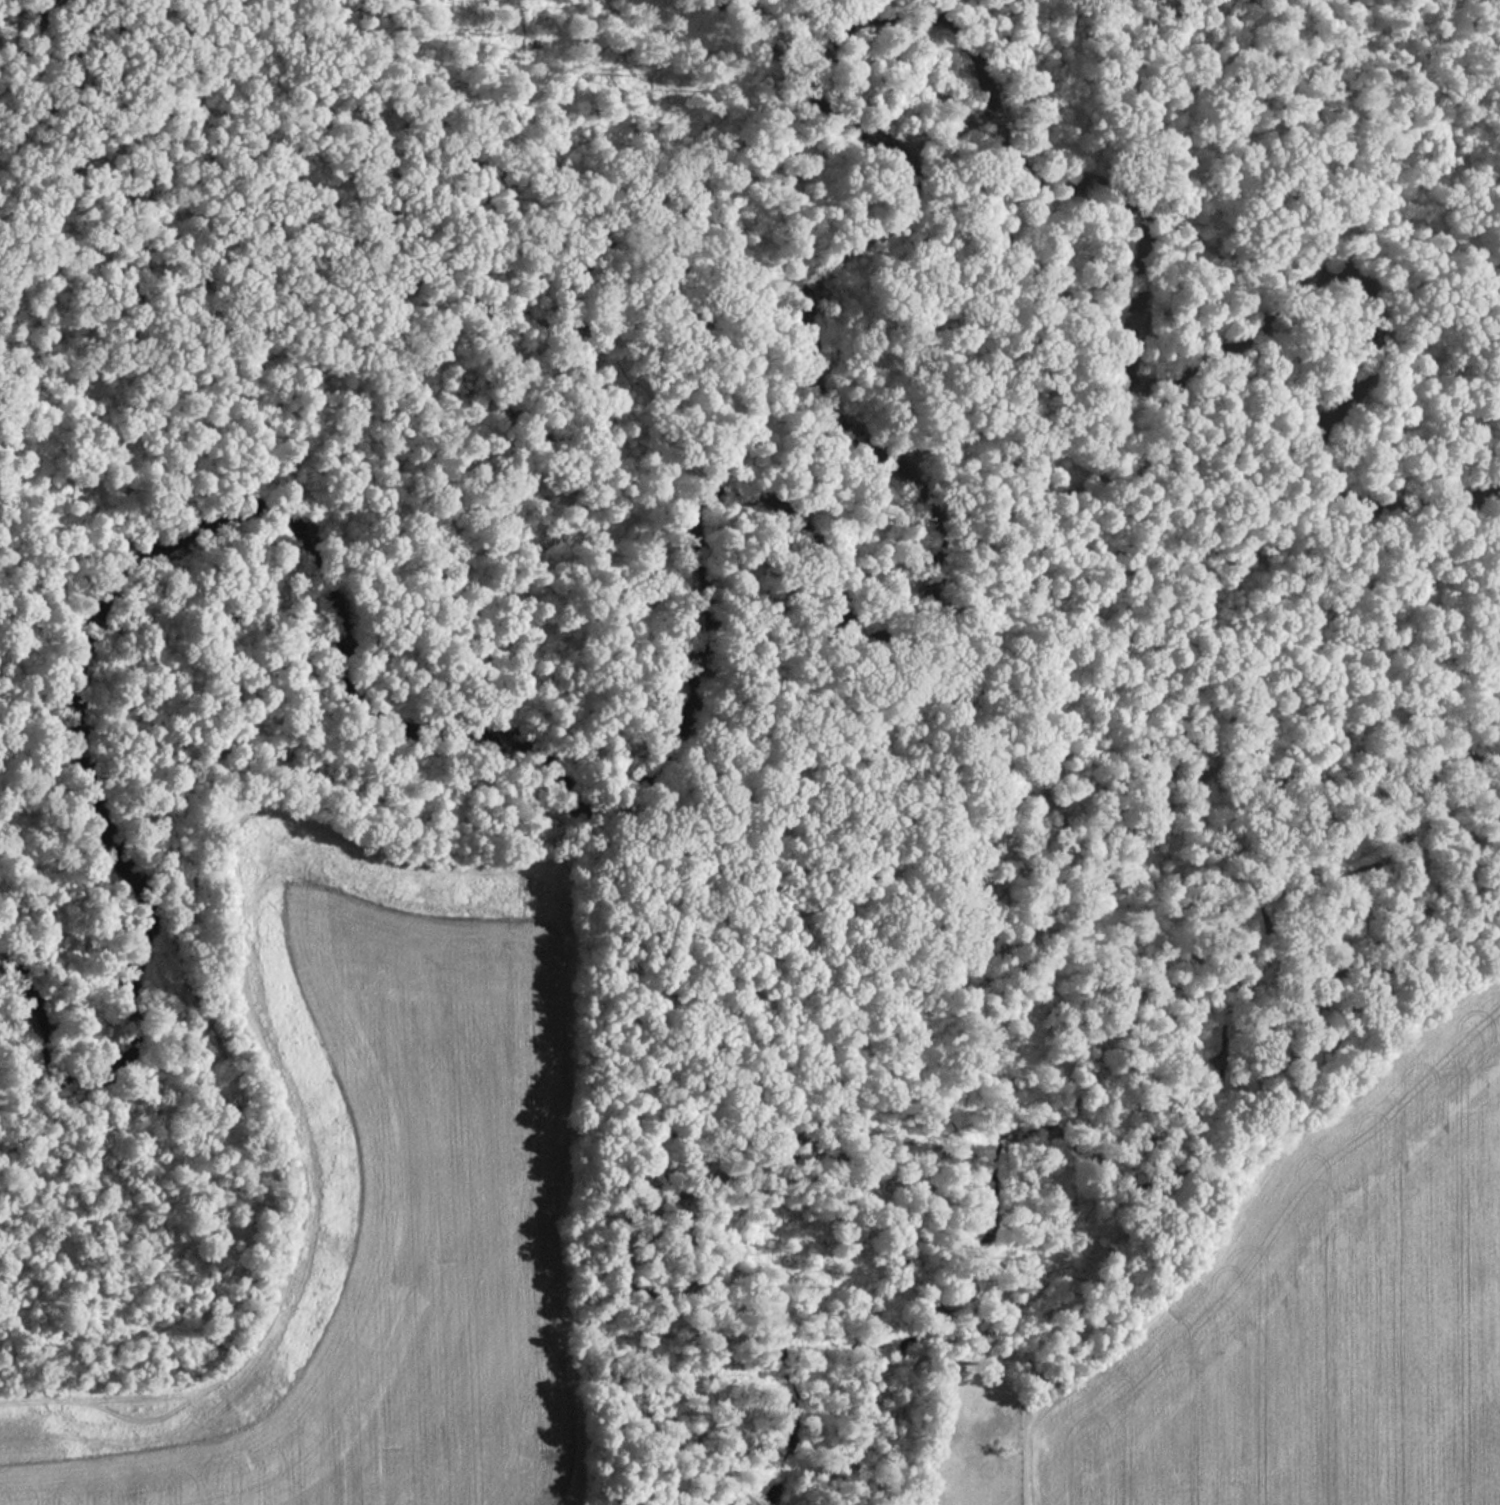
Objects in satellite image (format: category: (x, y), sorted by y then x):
crop: (414, 1241)
crop: (1325, 1315)

